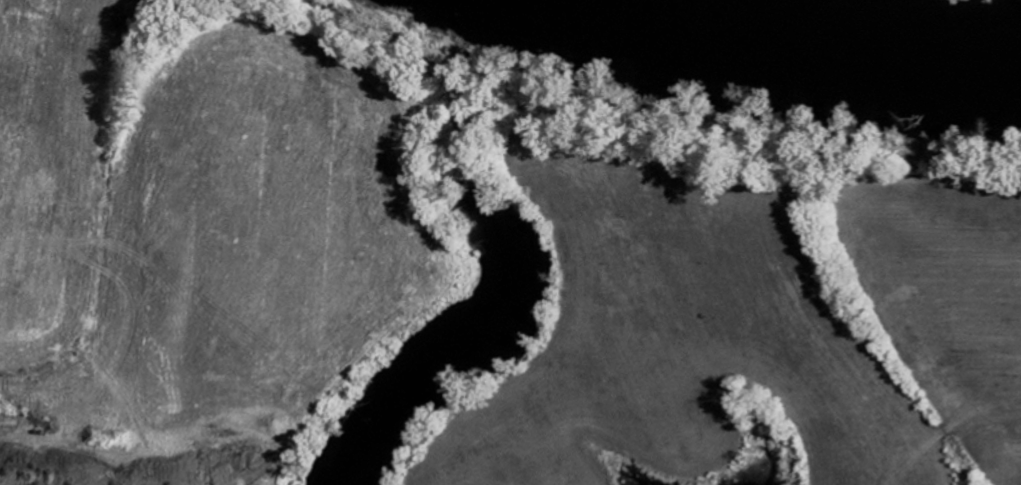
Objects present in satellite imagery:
river: (828, 41)

